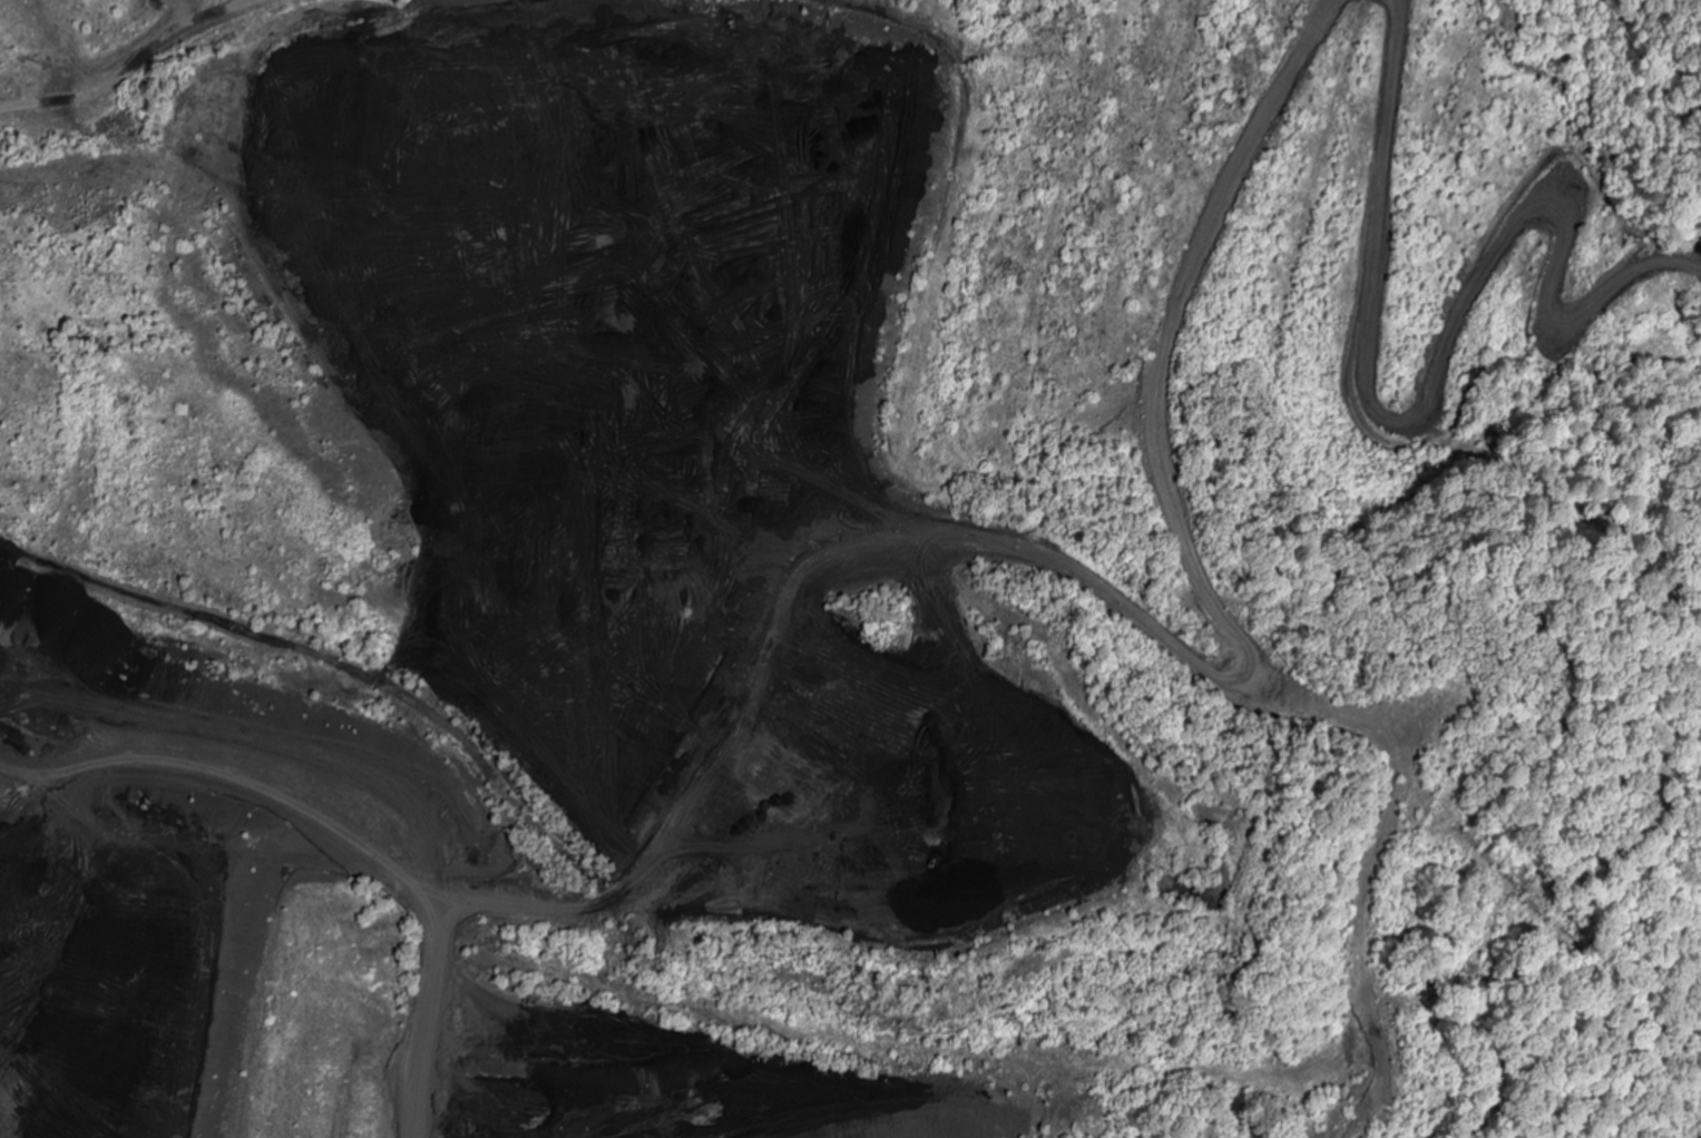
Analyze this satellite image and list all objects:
quarry: (850, 569)

